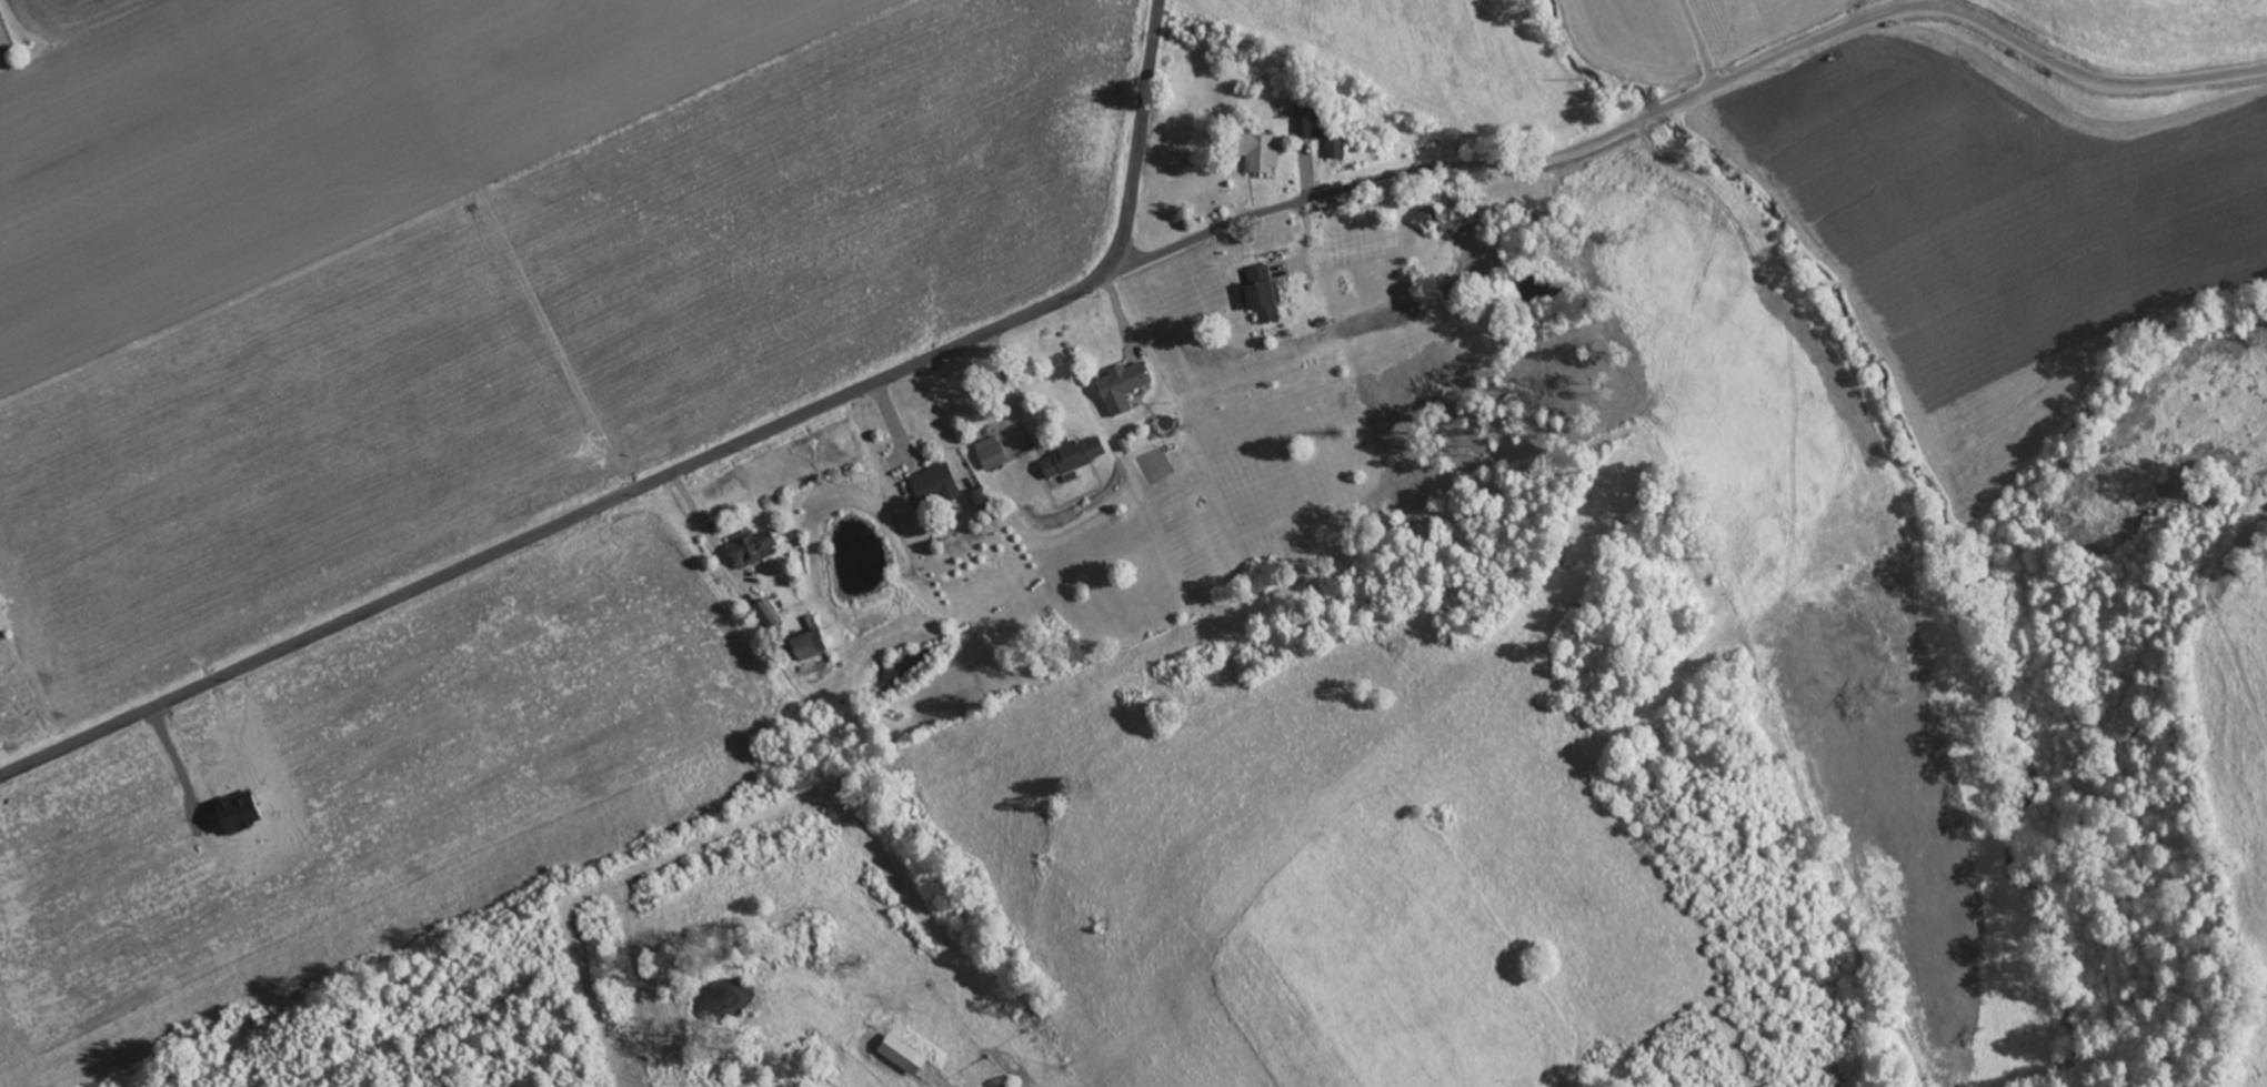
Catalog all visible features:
road: (1739, 32)
road: (1683, 100)
building: (1321, 127)
building: (1265, 153)
building: (1433, 218)
building: (1266, 294)
building: (1122, 386)
building: (991, 452)
building: (1075, 456)
road: (680, 469)
building: (936, 483)
road: (713, 532)
building: (760, 548)
building: (768, 615)
building: (804, 647)

